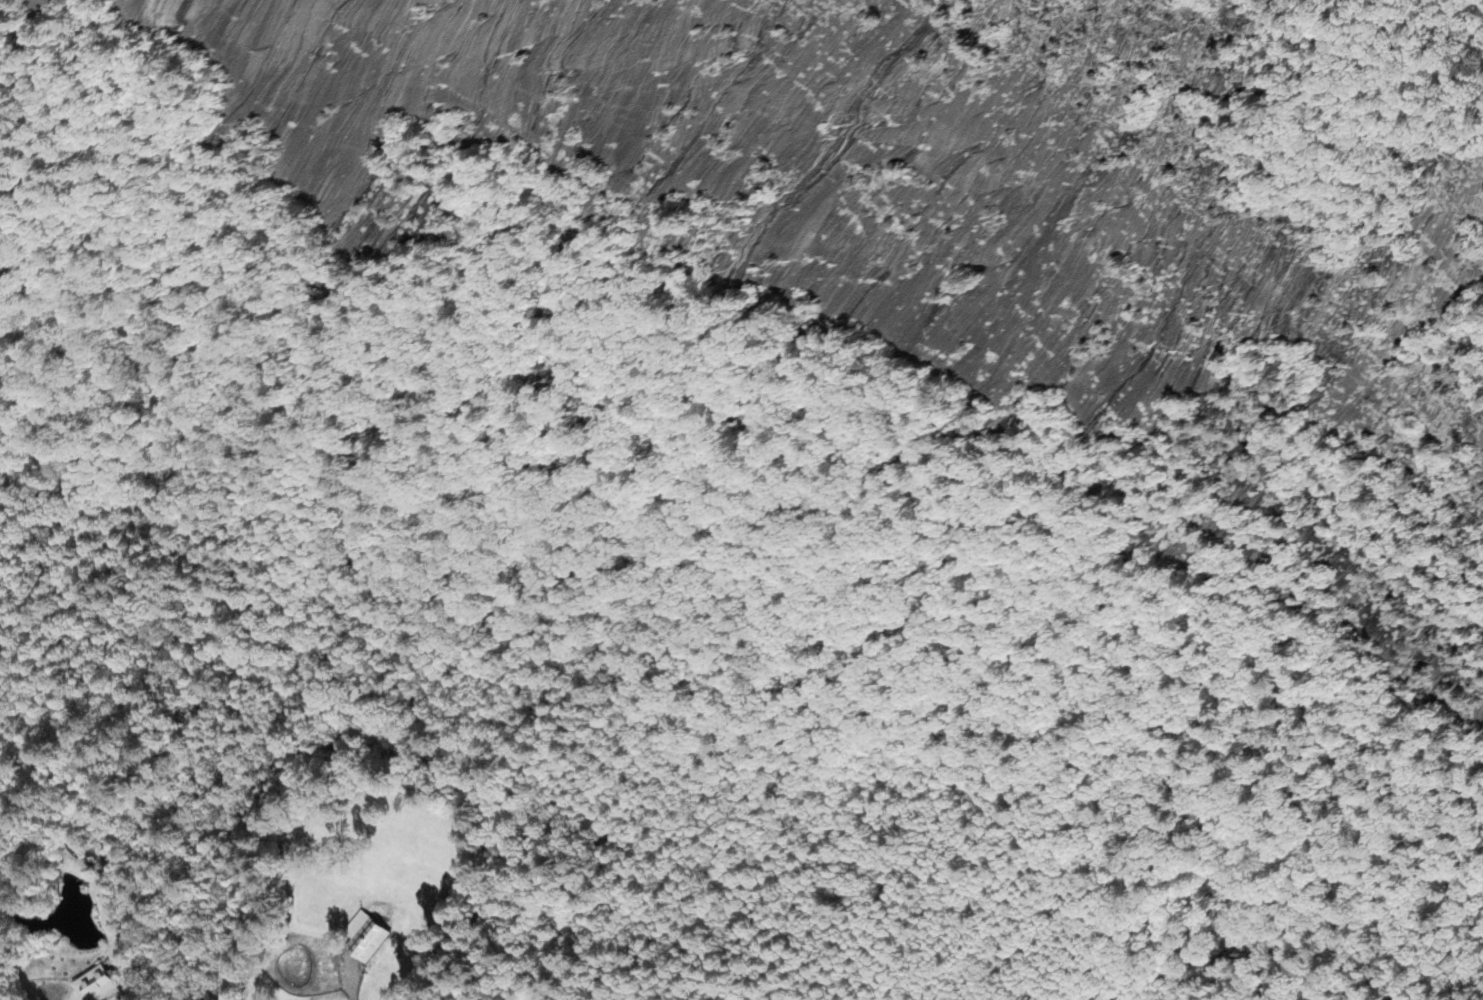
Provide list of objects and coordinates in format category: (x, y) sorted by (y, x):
park: (1479, 8)
building: (362, 942)
building: (93, 987)

